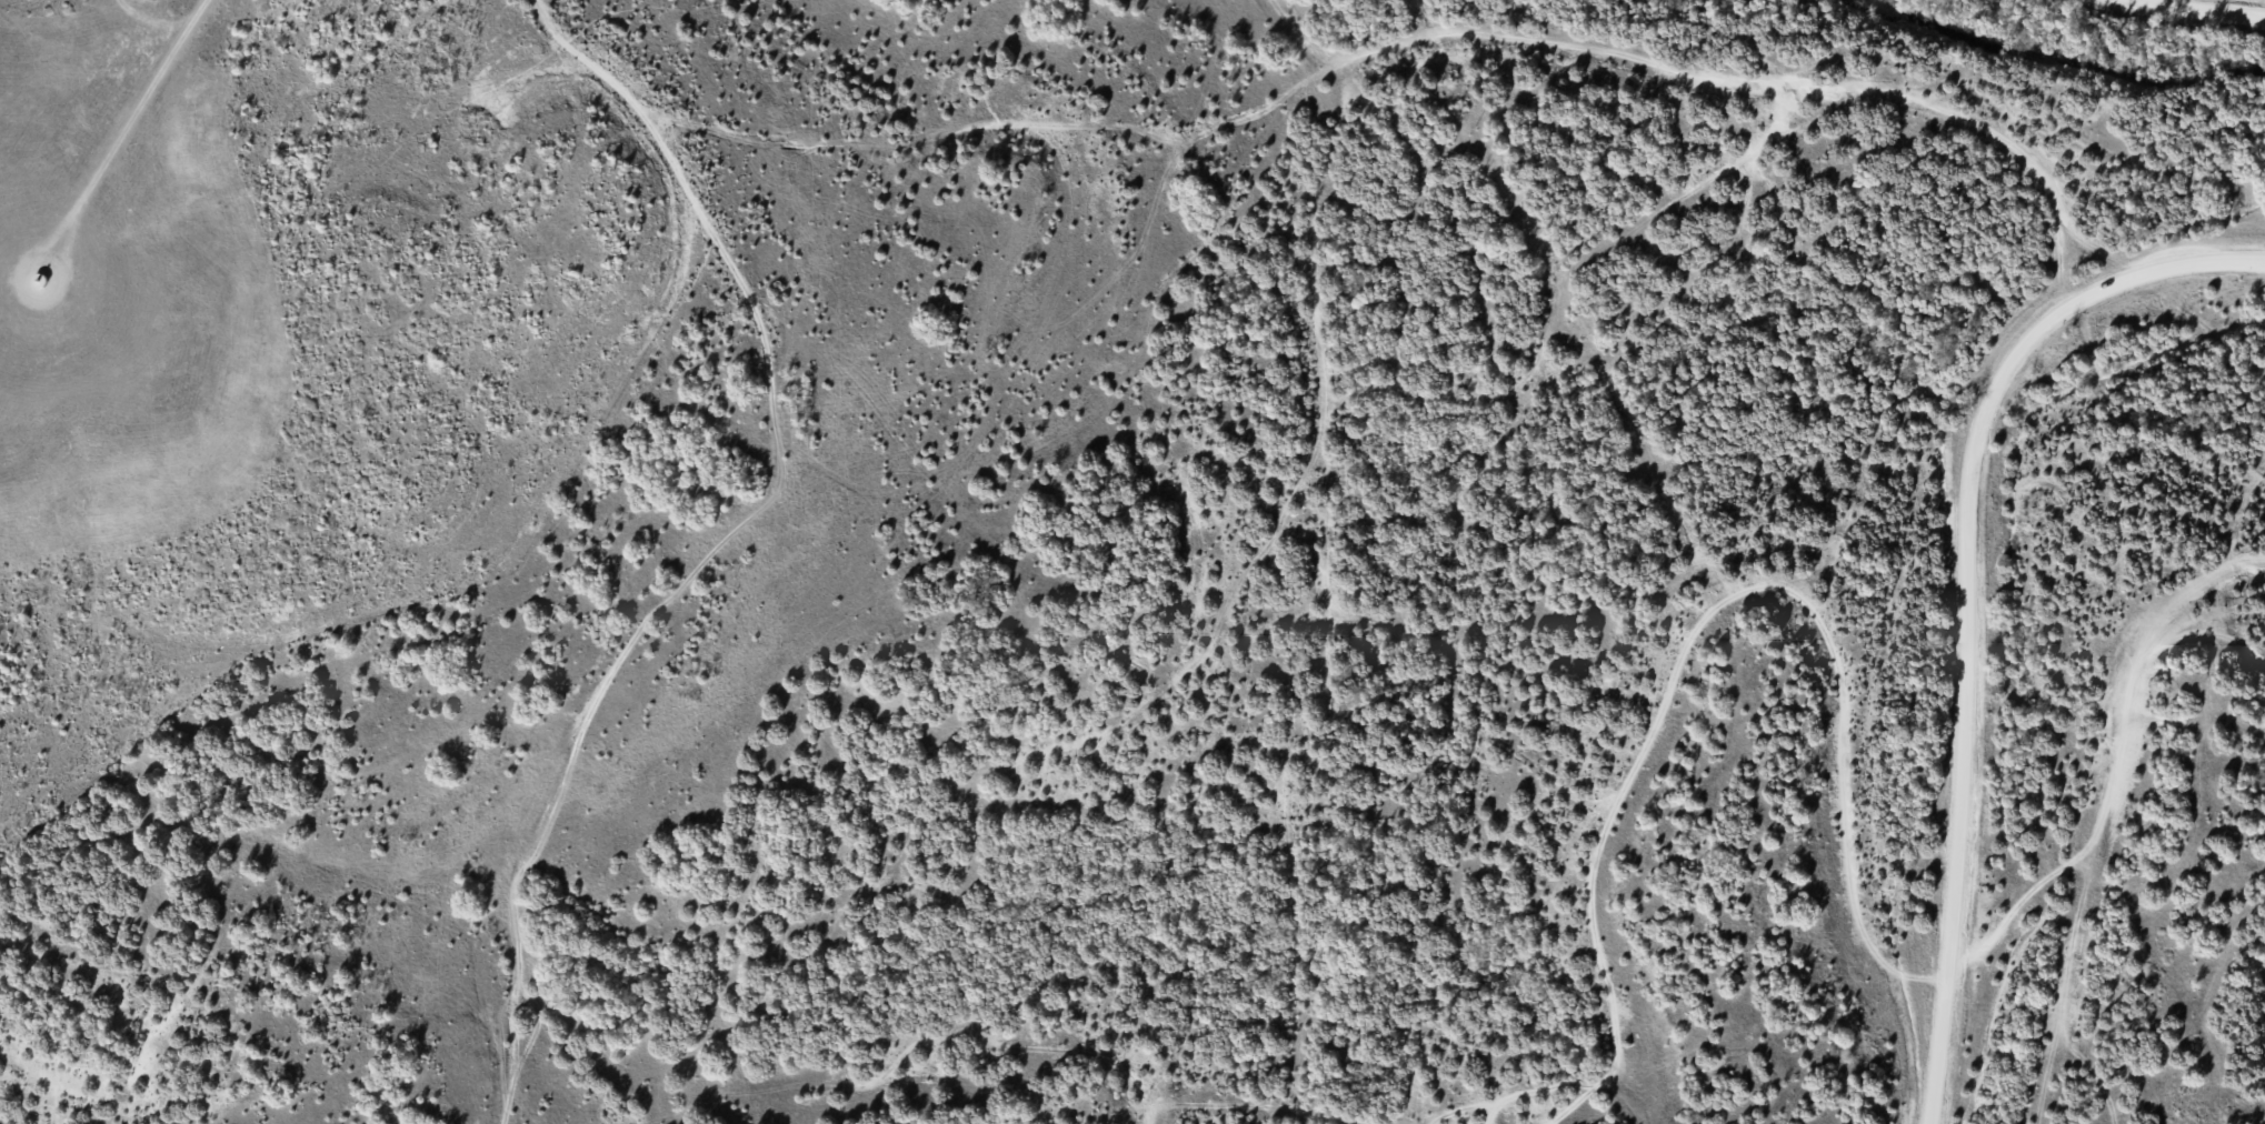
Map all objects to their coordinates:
road: (2189, 10)
road: (1966, 602)

